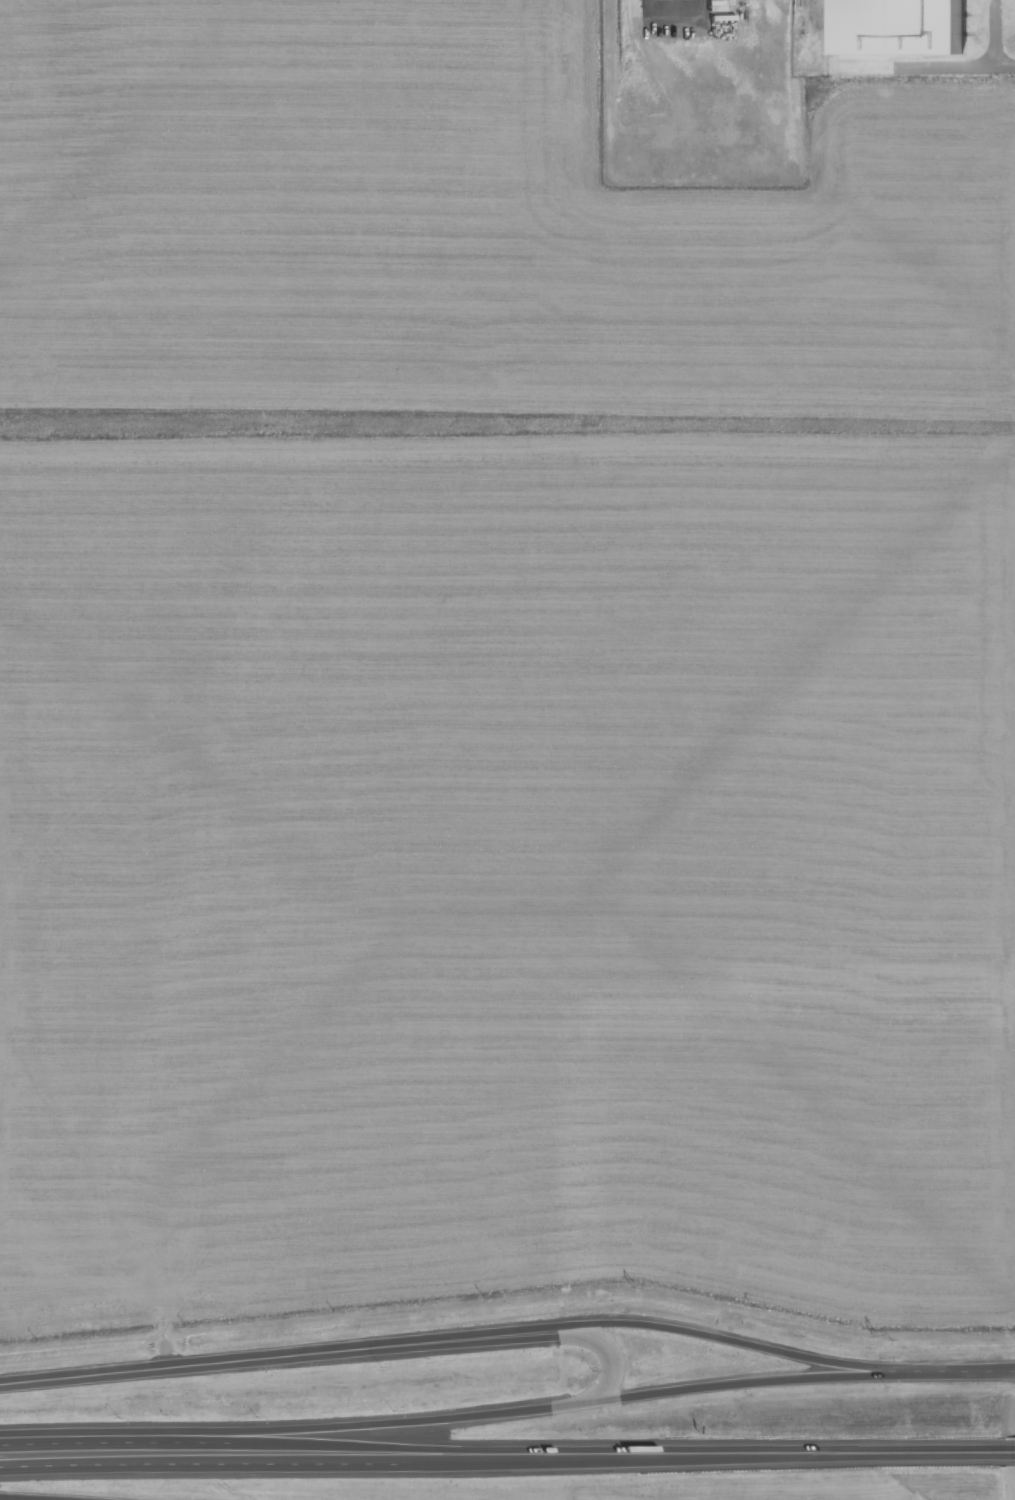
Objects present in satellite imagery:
railway: (799, 2)
building: (901, 27)
road: (981, 65)
road: (724, 1338)
road: (613, 1350)
road: (278, 1355)
road: (952, 1372)
road: (530, 1412)
road: (84, 1440)
road: (292, 1443)
road: (1009, 1448)
road: (710, 1452)
road: (301, 1466)
road: (92, 1467)
road: (37, 1497)

